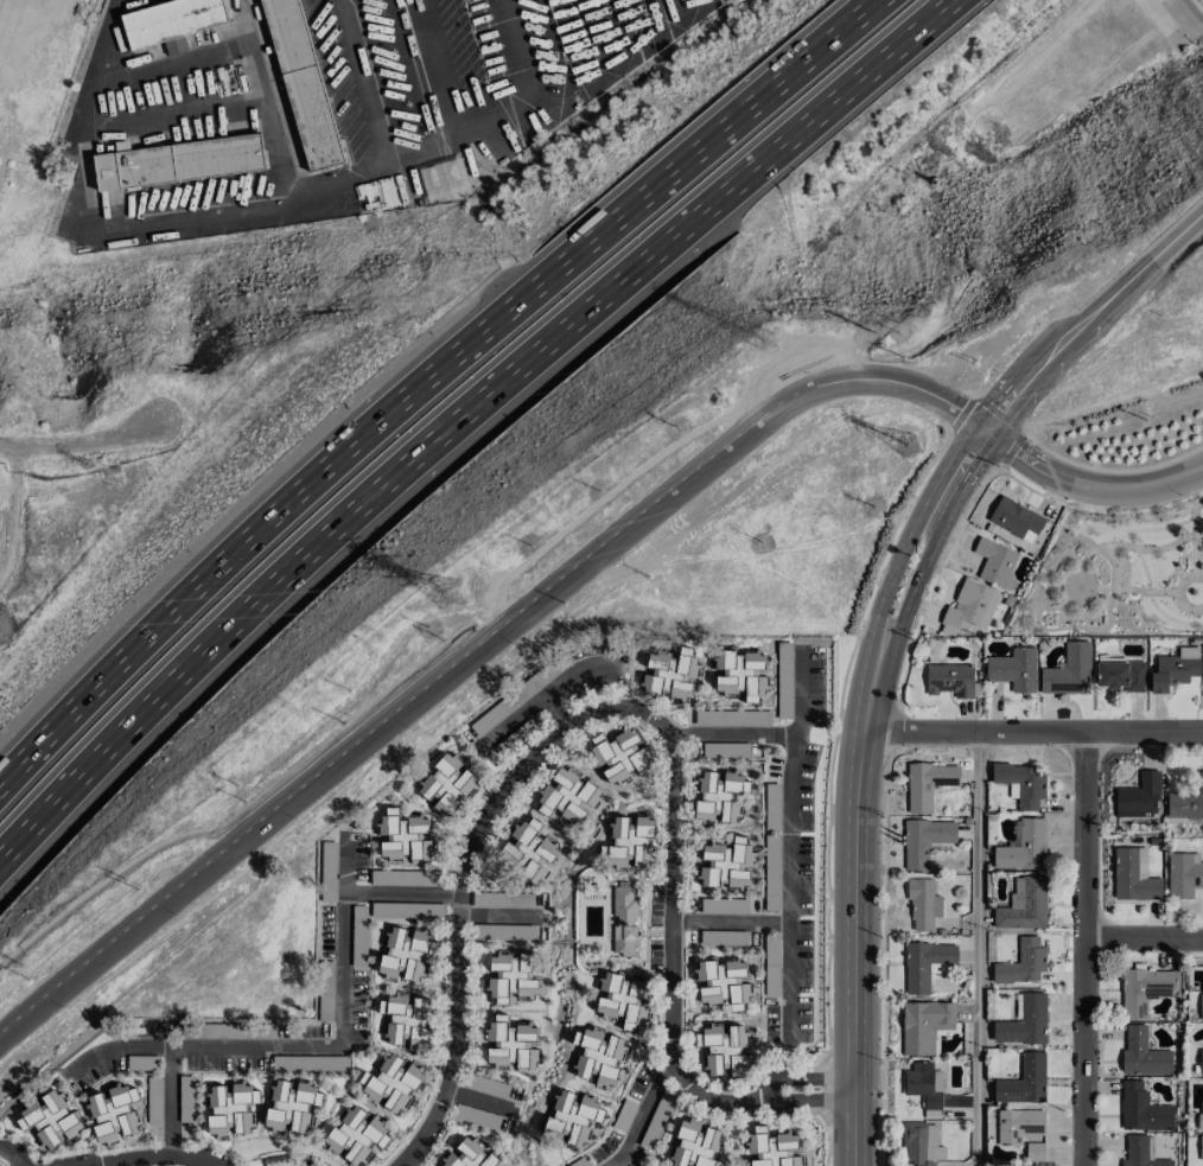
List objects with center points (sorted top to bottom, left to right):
road: (1189, 14)
building: (172, 21)
road: (173, 68)
building: (301, 83)
road: (359, 83)
road: (268, 96)
building: (178, 159)
road: (288, 197)
road: (1147, 263)
road: (1063, 340)
power tower: (770, 343)
road: (884, 380)
road: (432, 381)
road: (1008, 397)
road: (458, 410)
road: (81, 442)
power tower: (909, 447)
power tower: (112, 478)
road: (970, 478)
road: (1087, 485)
building: (1016, 520)
road: (910, 530)
building: (994, 561)
park: (1116, 575)
road: (915, 591)
power tower: (450, 598)
building: (969, 609)
power substation: (5, 624)
building: (1013, 669)
building: (1175, 669)
building: (1068, 671)
building: (669, 674)
building: (739, 674)
building: (1121, 675)
building: (541, 676)
building: (783, 680)
building: (949, 680)
road: (560, 682)
building: (491, 716)
building: (732, 718)
road: (388, 720)
road: (515, 720)
road: (1032, 732)
building: (515, 738)
road: (731, 739)
building: (725, 750)
building: (617, 754)
road: (528, 758)
building: (927, 784)
building: (1020, 784)
building: (445, 785)
road: (793, 786)
building: (718, 796)
building: (568, 797)
building: (1139, 797)
building: (1186, 801)
building: (771, 807)
building: (403, 836)
building: (630, 841)
building: (924, 841)
building: (327, 847)
building: (1024, 847)
building: (527, 849)
building: (726, 864)
building: (771, 873)
building: (1184, 875)
building: (405, 878)
building: (1134, 878)
building: (327, 880)
road: (376, 891)
building: (502, 899)
building: (922, 904)
building: (1024, 904)
building: (723, 906)
road: (853, 909)
building: (407, 910)
road: (731, 920)
building: (624, 922)
building: (504, 932)
building: (358, 936)
road: (1142, 937)
road: (1082, 948)
road: (975, 949)
building: (403, 954)
building: (925, 963)
building: (1021, 963)
building: (771, 966)
building: (510, 976)
road: (790, 981)
building: (721, 983)
building: (1145, 989)
building: (622, 1000)
building: (1201, 1008)
building: (406, 1020)
building: (1024, 1021)
building: (924, 1025)
road: (673, 1030)
building: (509, 1044)
road: (279, 1045)
building: (725, 1050)
building: (1142, 1053)
building: (598, 1056)
building: (1201, 1062)
building: (141, 1063)
building: (308, 1063)
road: (801, 1081)
building: (1024, 1082)
building: (392, 1083)
building: (488, 1085)
building: (924, 1087)
building: (185, 1098)
road: (172, 1100)
road: (476, 1101)
road: (804, 1101)
building: (289, 1106)
building: (230, 1109)
building: (625, 1109)
building: (1142, 1109)
building: (113, 1113)
road: (641, 1115)
building: (1201, 1115)
building: (573, 1116)
road: (429, 1119)
building: (50, 1120)
building: (656, 1120)
building: (1023, 1132)
building: (355, 1135)
building: (695, 1145)
building: (919, 1145)
building: (1201, 1147)
building: (771, 1148)
building: (1141, 1152)
road: (12, 1153)
building: (470, 1154)
road: (144, 1155)
building: (580, 1162)

